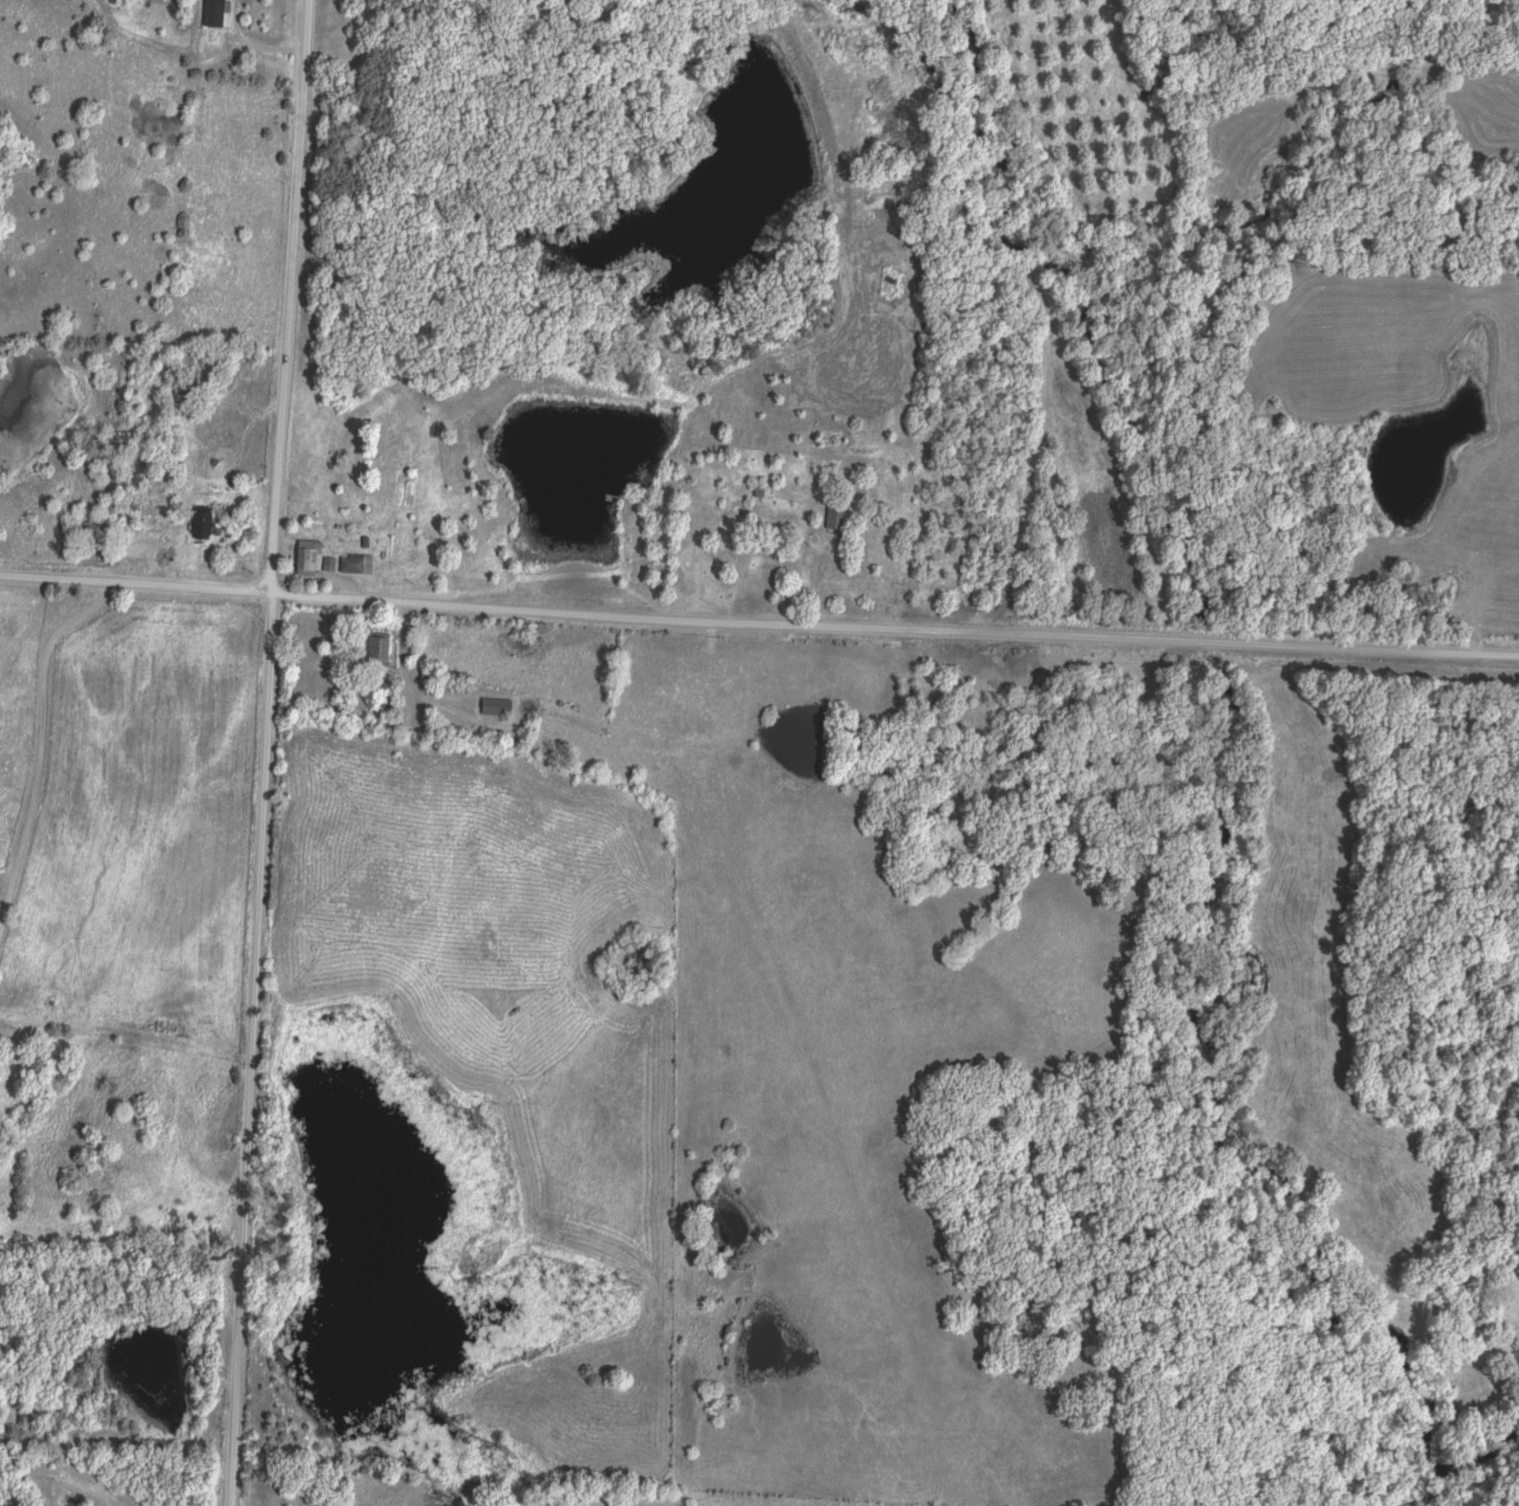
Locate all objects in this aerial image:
building: (215, 14)
road: (259, 37)
road: (289, 295)
building: (189, 397)
building: (835, 520)
building: (147, 526)
building: (309, 559)
building: (357, 566)
building: (760, 571)
road: (759, 620)
building: (379, 651)
building: (428, 682)
building: (497, 708)
building: (393, 709)
road: (39, 741)
road: (249, 1048)
road: (110, 1500)

